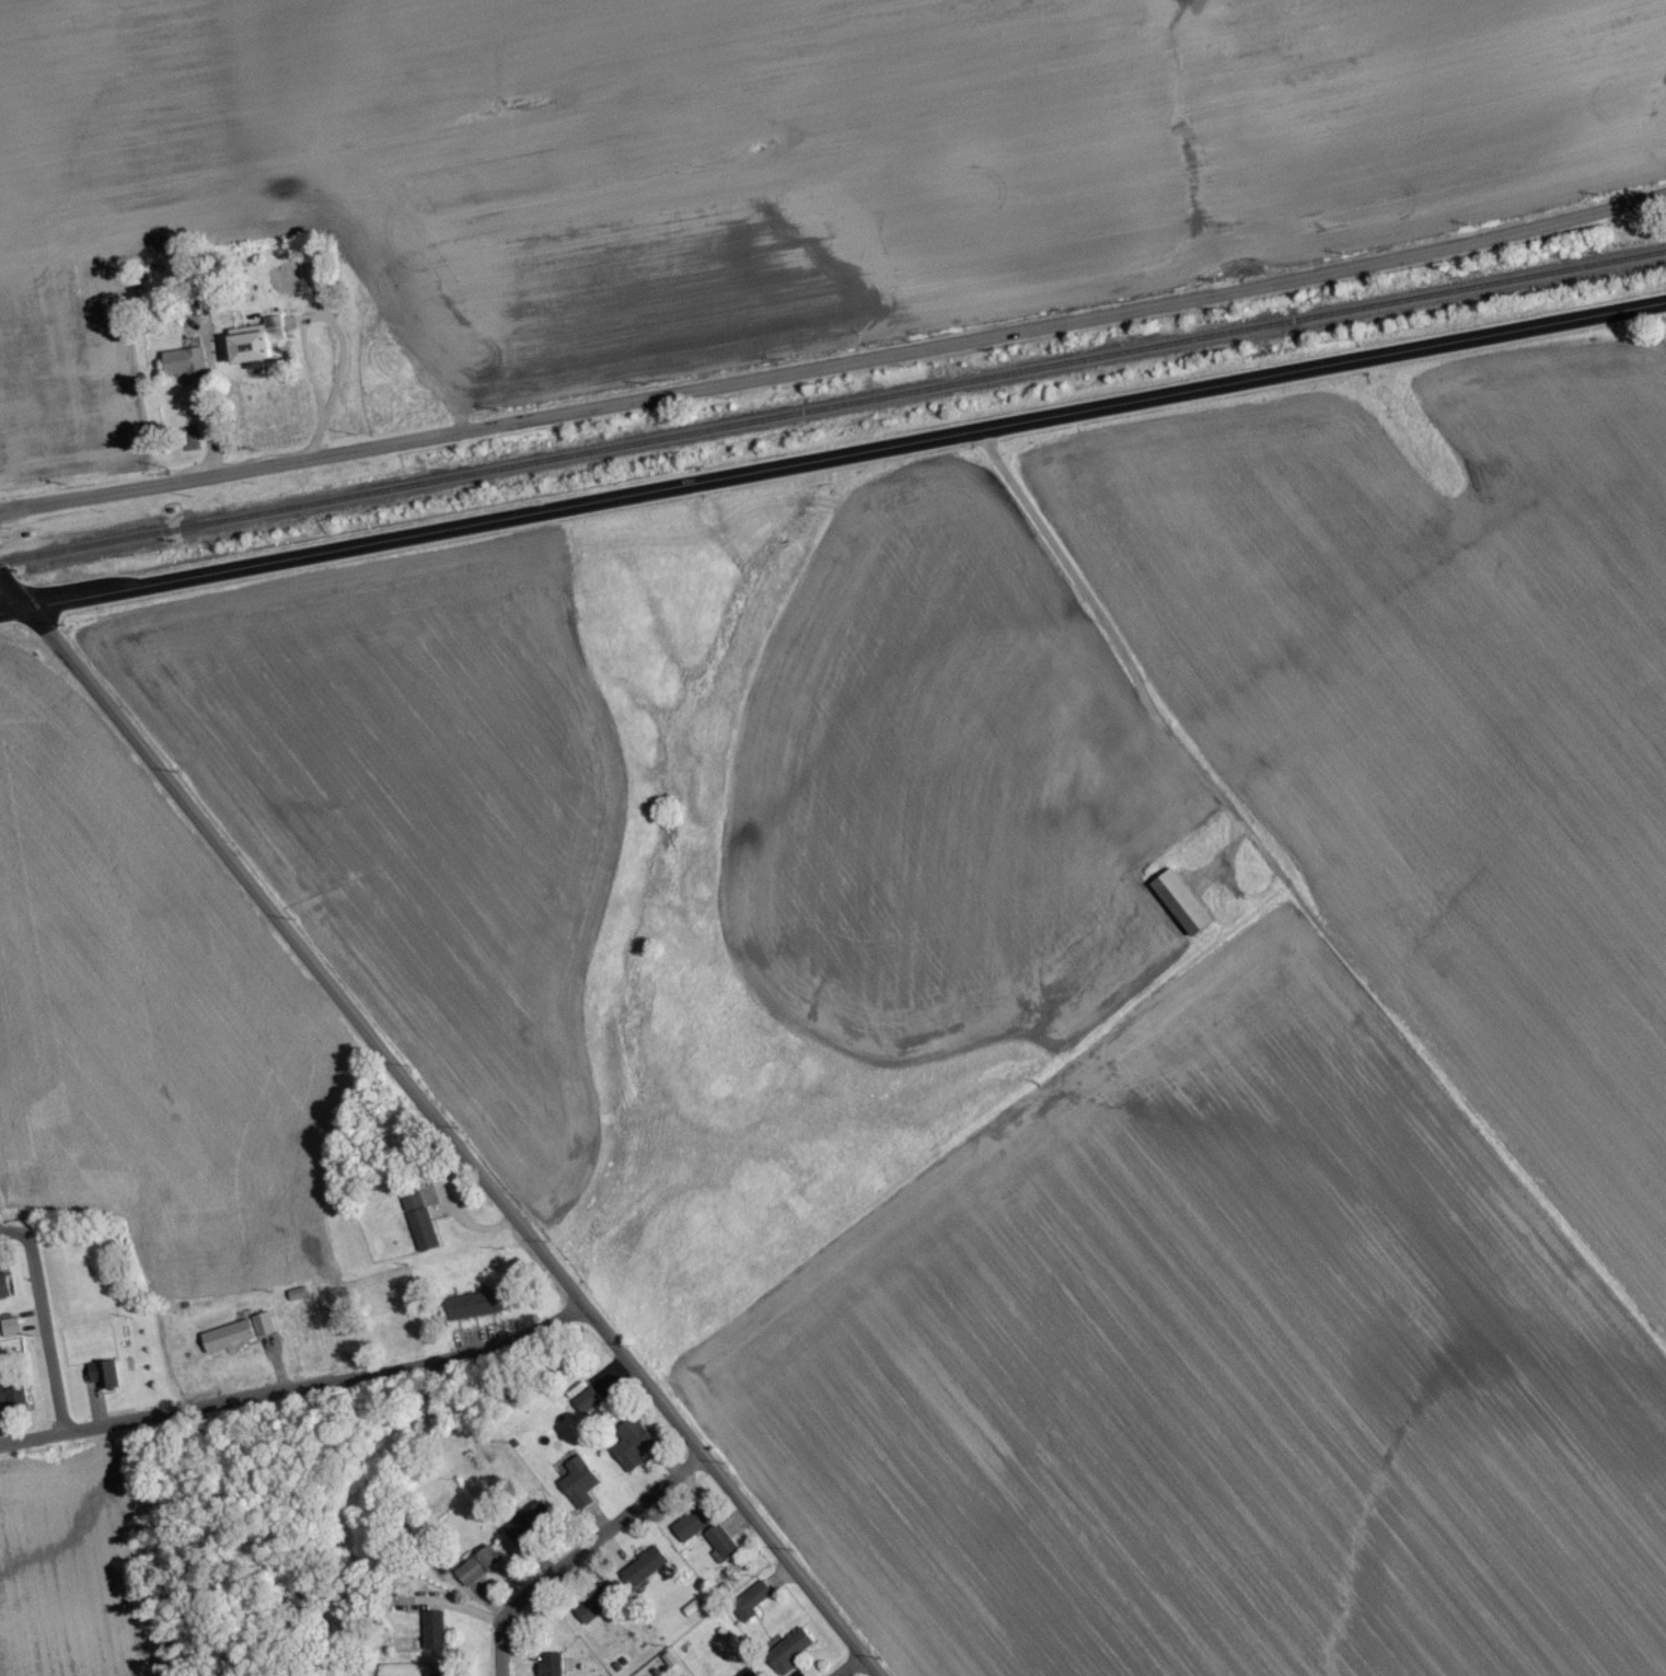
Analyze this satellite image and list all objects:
building: (252, 354)
building: (180, 368)
road: (835, 369)
building: (410, 402)
building: (386, 407)
railway: (833, 415)
building: (188, 446)
road: (833, 467)
road: (11, 597)
road: (1108, 634)
road: (104, 713)
building: (1182, 909)
road: (383, 1062)
building: (420, 1226)
building: (4, 1294)
building: (474, 1313)
road: (45, 1322)
building: (240, 1340)
building: (103, 1383)
road: (293, 1392)
building: (13, 1401)
building: (588, 1407)
building: (633, 1453)
building: (580, 1490)
road: (727, 1493)
building: (529, 1528)
building: (693, 1531)
building: (721, 1549)
road: (578, 1559)
building: (478, 1573)
building: (645, 1574)
building: (751, 1608)
building: (597, 1611)
building: (433, 1638)
building: (791, 1656)
building: (553, 1667)
road: (856, 1671)
building: (750, 1674)

